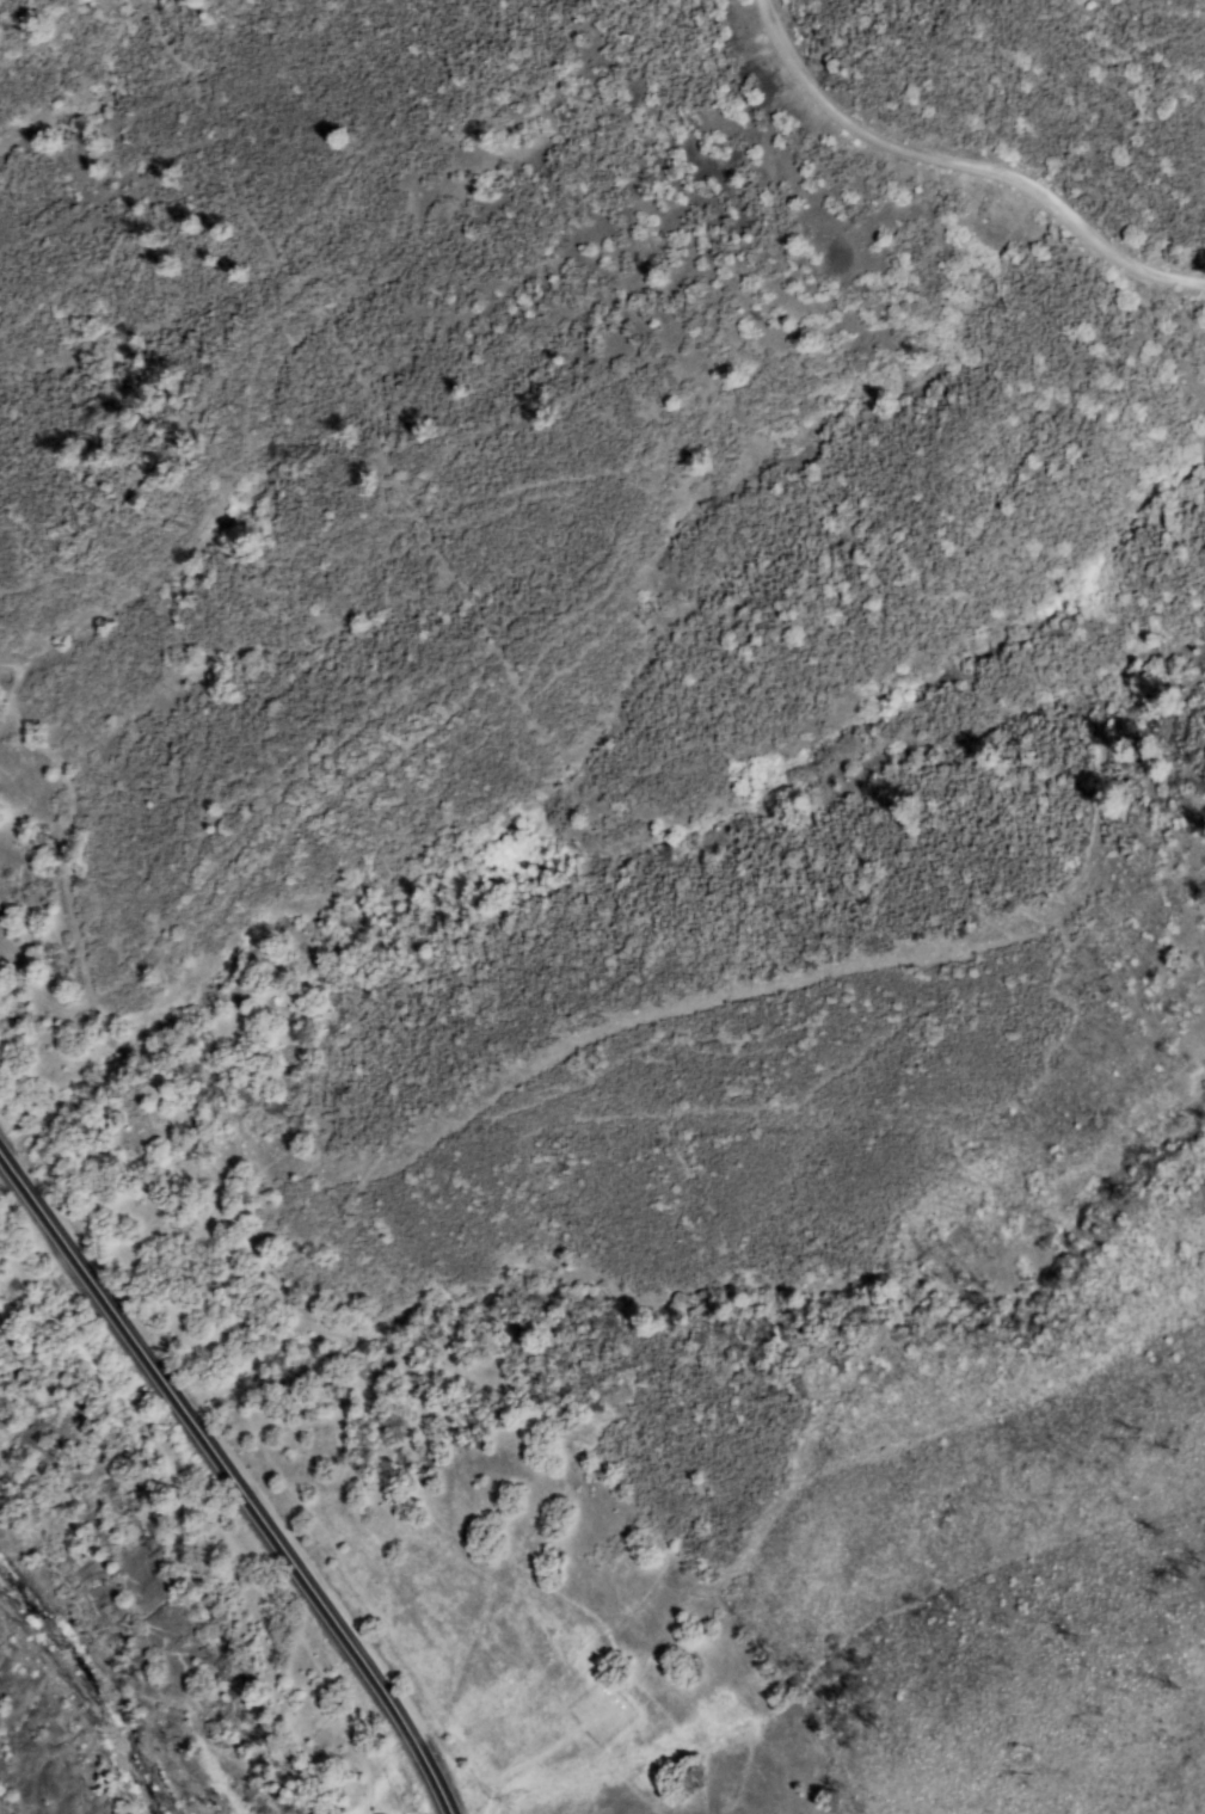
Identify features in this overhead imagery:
road: (955, 170)
road: (232, 1477)

